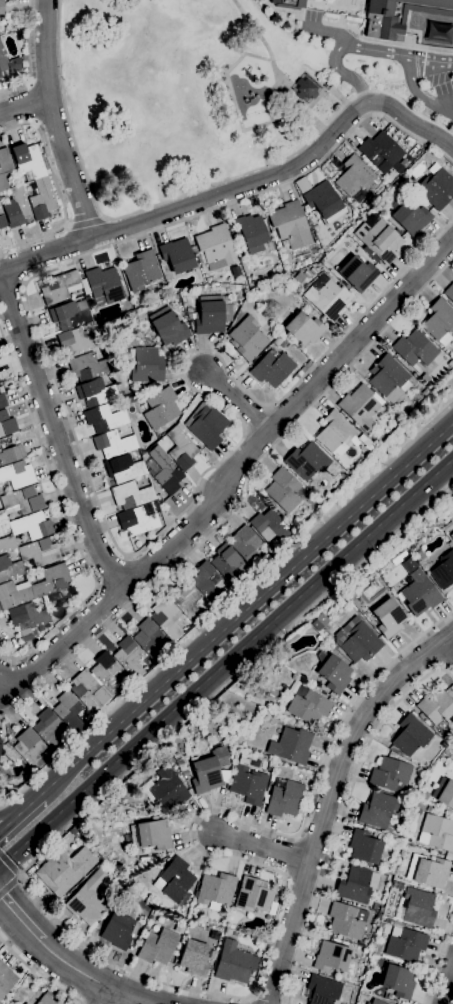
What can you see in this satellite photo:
building: (289, 4)
building: (1, 9)
building: (399, 15)
road: (361, 49)
road: (27, 56)
building: (24, 61)
building: (9, 63)
building: (0, 77)
building: (306, 90)
park: (195, 93)
road: (417, 96)
road: (31, 103)
road: (444, 103)
road: (24, 105)
road: (55, 122)
road: (86, 146)
building: (380, 150)
building: (28, 160)
building: (4, 168)
building: (354, 180)
building: (436, 187)
road: (239, 188)
road: (58, 191)
road: (184, 195)
building: (42, 200)
building: (324, 203)
building: (16, 208)
building: (356, 210)
building: (409, 216)
road: (103, 219)
building: (2, 220)
road: (86, 223)
road: (69, 225)
building: (290, 225)
building: (249, 231)
building: (379, 241)
building: (215, 248)
building: (177, 255)
building: (142, 272)
building: (357, 274)
building: (299, 278)
building: (290, 282)
road: (11, 285)
building: (103, 285)
building: (60, 288)
building: (259, 292)
building: (449, 293)
building: (326, 297)
building: (70, 315)
building: (210, 315)
building: (439, 322)
building: (168, 328)
building: (303, 329)
building: (247, 339)
building: (77, 342)
building: (414, 351)
building: (99, 354)
building: (450, 364)
building: (145, 365)
building: (87, 367)
building: (272, 369)
building: (424, 378)
building: (388, 379)
building: (109, 381)
building: (95, 392)
building: (424, 392)
road: (236, 400)
building: (2, 402)
road: (265, 406)
building: (161, 408)
building: (361, 408)
building: (104, 419)
road: (254, 419)
building: (6, 424)
building: (208, 427)
road: (243, 431)
building: (334, 433)
road: (56, 436)
building: (361, 438)
building: (113, 444)
building: (369, 448)
building: (181, 449)
building: (10, 450)
building: (305, 461)
building: (123, 469)
building: (165, 470)
road: (230, 471)
building: (17, 475)
building: (340, 478)
building: (282, 491)
building: (131, 495)
road: (94, 496)
building: (22, 501)
road: (242, 501)
building: (2, 518)
building: (136, 521)
road: (67, 522)
building: (32, 526)
building: (269, 526)
building: (451, 536)
building: (7, 544)
building: (246, 546)
building: (411, 546)
building: (39, 553)
road: (124, 557)
building: (229, 566)
building: (9, 569)
building: (443, 571)
road: (111, 573)
building: (51, 583)
building: (210, 585)
road: (96, 587)
building: (14, 594)
building: (418, 594)
building: (186, 600)
road: (227, 607)
road: (246, 608)
building: (0, 609)
building: (388, 618)
building: (166, 619)
building: (28, 620)
building: (317, 625)
building: (149, 640)
building: (357, 641)
building: (29, 643)
road: (450, 644)
building: (129, 657)
road: (226, 660)
building: (105, 672)
road: (6, 673)
building: (334, 674)
building: (88, 691)
building: (308, 706)
building: (437, 708)
building: (68, 712)
building: (49, 730)
building: (411, 736)
building: (0, 741)
building: (292, 746)
building: (31, 749)
building: (452, 756)
building: (210, 771)
building: (389, 774)
building: (272, 778)
building: (248, 785)
building: (166, 791)
building: (446, 794)
building: (284, 798)
road: (327, 800)
building: (430, 809)
building: (379, 811)
road: (12, 813)
road: (20, 814)
road: (344, 814)
building: (437, 833)
building: (153, 835)
road: (260, 846)
building: (364, 847)
building: (156, 857)
road: (8, 864)
building: (65, 870)
building: (430, 871)
road: (18, 875)
road: (18, 876)
building: (174, 880)
road: (9, 885)
building: (357, 885)
building: (215, 890)
building: (253, 895)
building: (88, 899)
building: (418, 908)
road: (22, 915)
building: (347, 921)
building: (118, 931)
building: (406, 945)
building: (158, 947)
building: (212, 955)
road: (438, 956)
building: (331, 957)
building: (194, 958)
building: (234, 963)
road: (38, 974)
road: (148, 977)
road: (444, 979)
building: (6, 980)
building: (398, 981)
road: (108, 987)
building: (323, 990)
road: (106, 996)
building: (47, 999)
road: (247, 1001)
road: (257, 1001)
building: (376, 1002)
building: (26, 1003)

